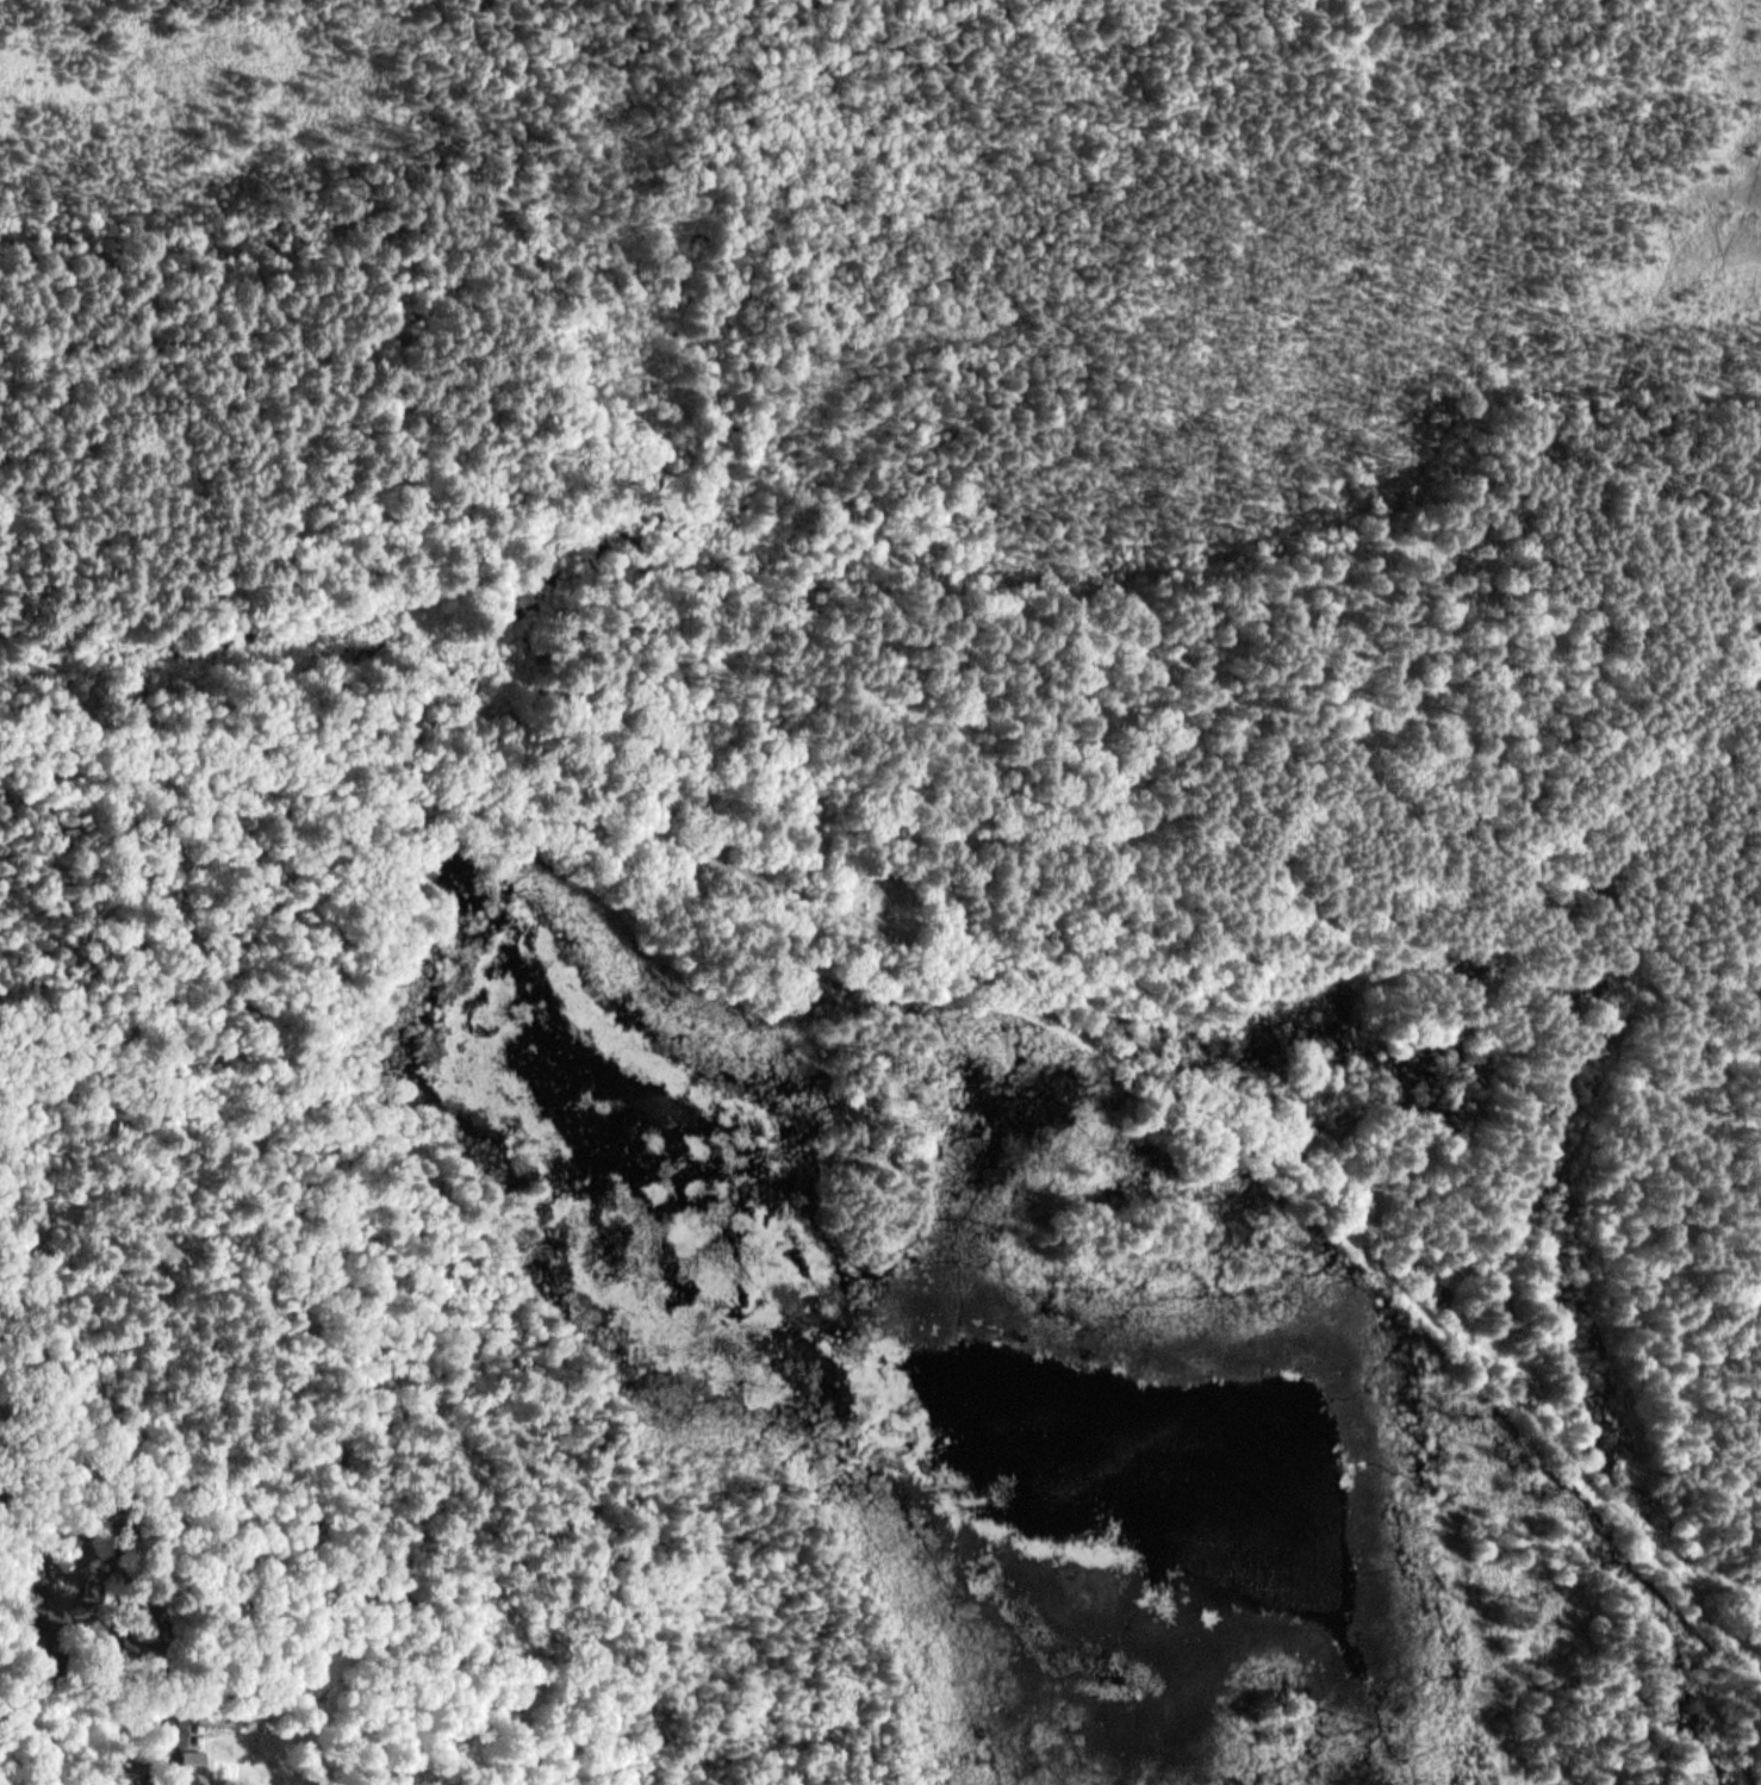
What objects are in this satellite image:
building: (174, 1729)
building: (195, 1761)

